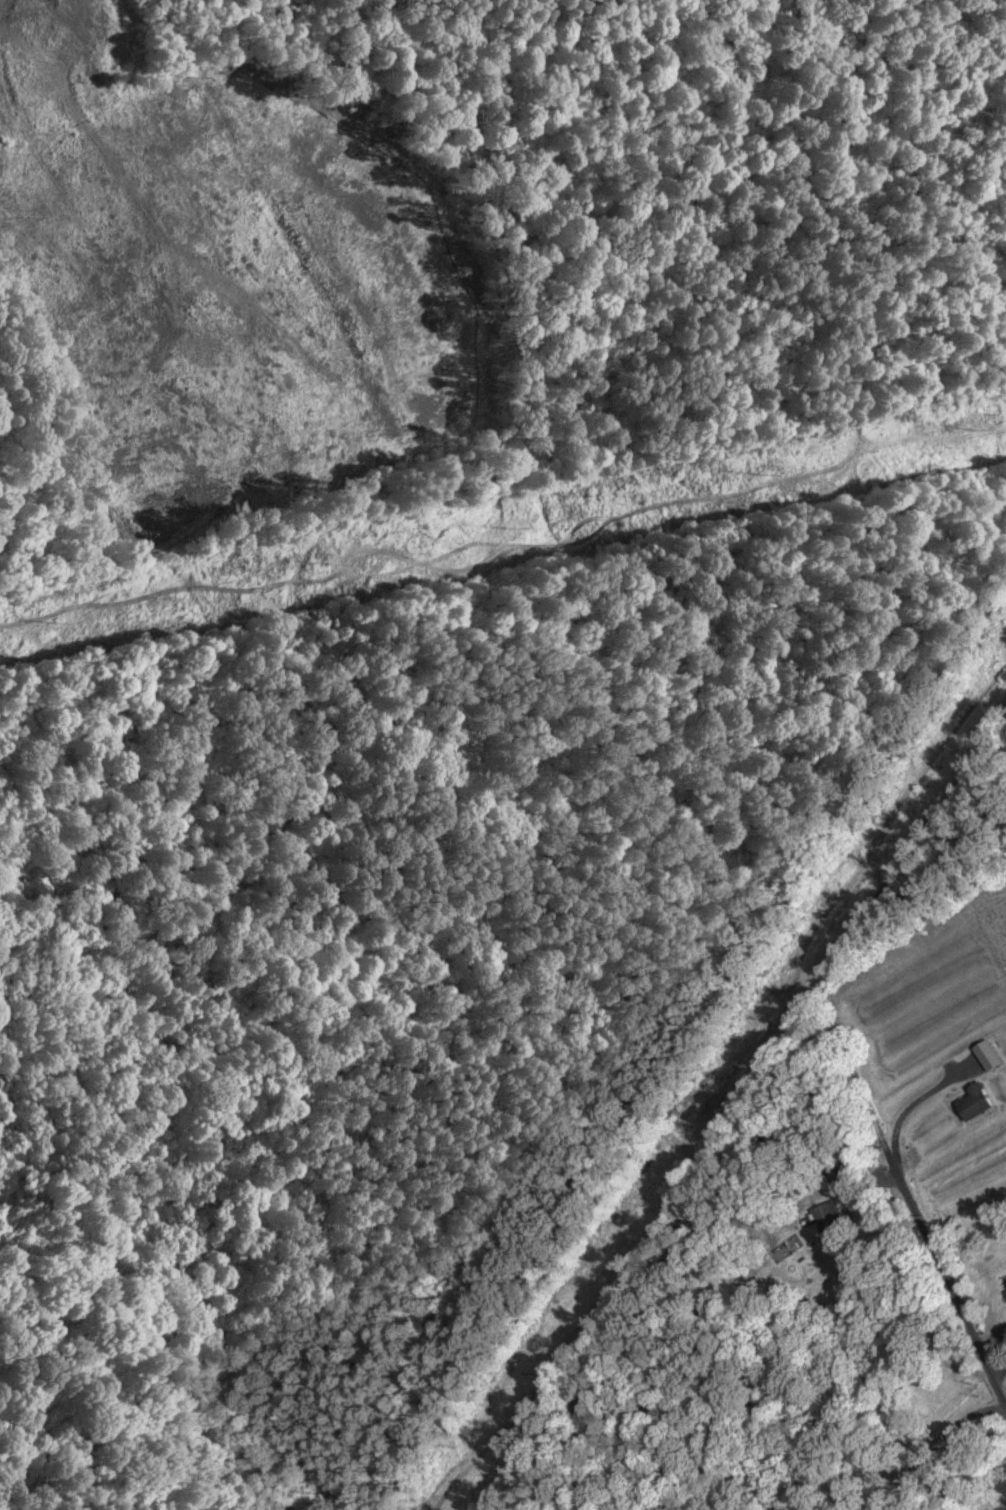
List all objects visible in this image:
building: (982, 1104)
road: (676, 1196)
building: (833, 1219)
road: (934, 1287)
road: (999, 1378)

